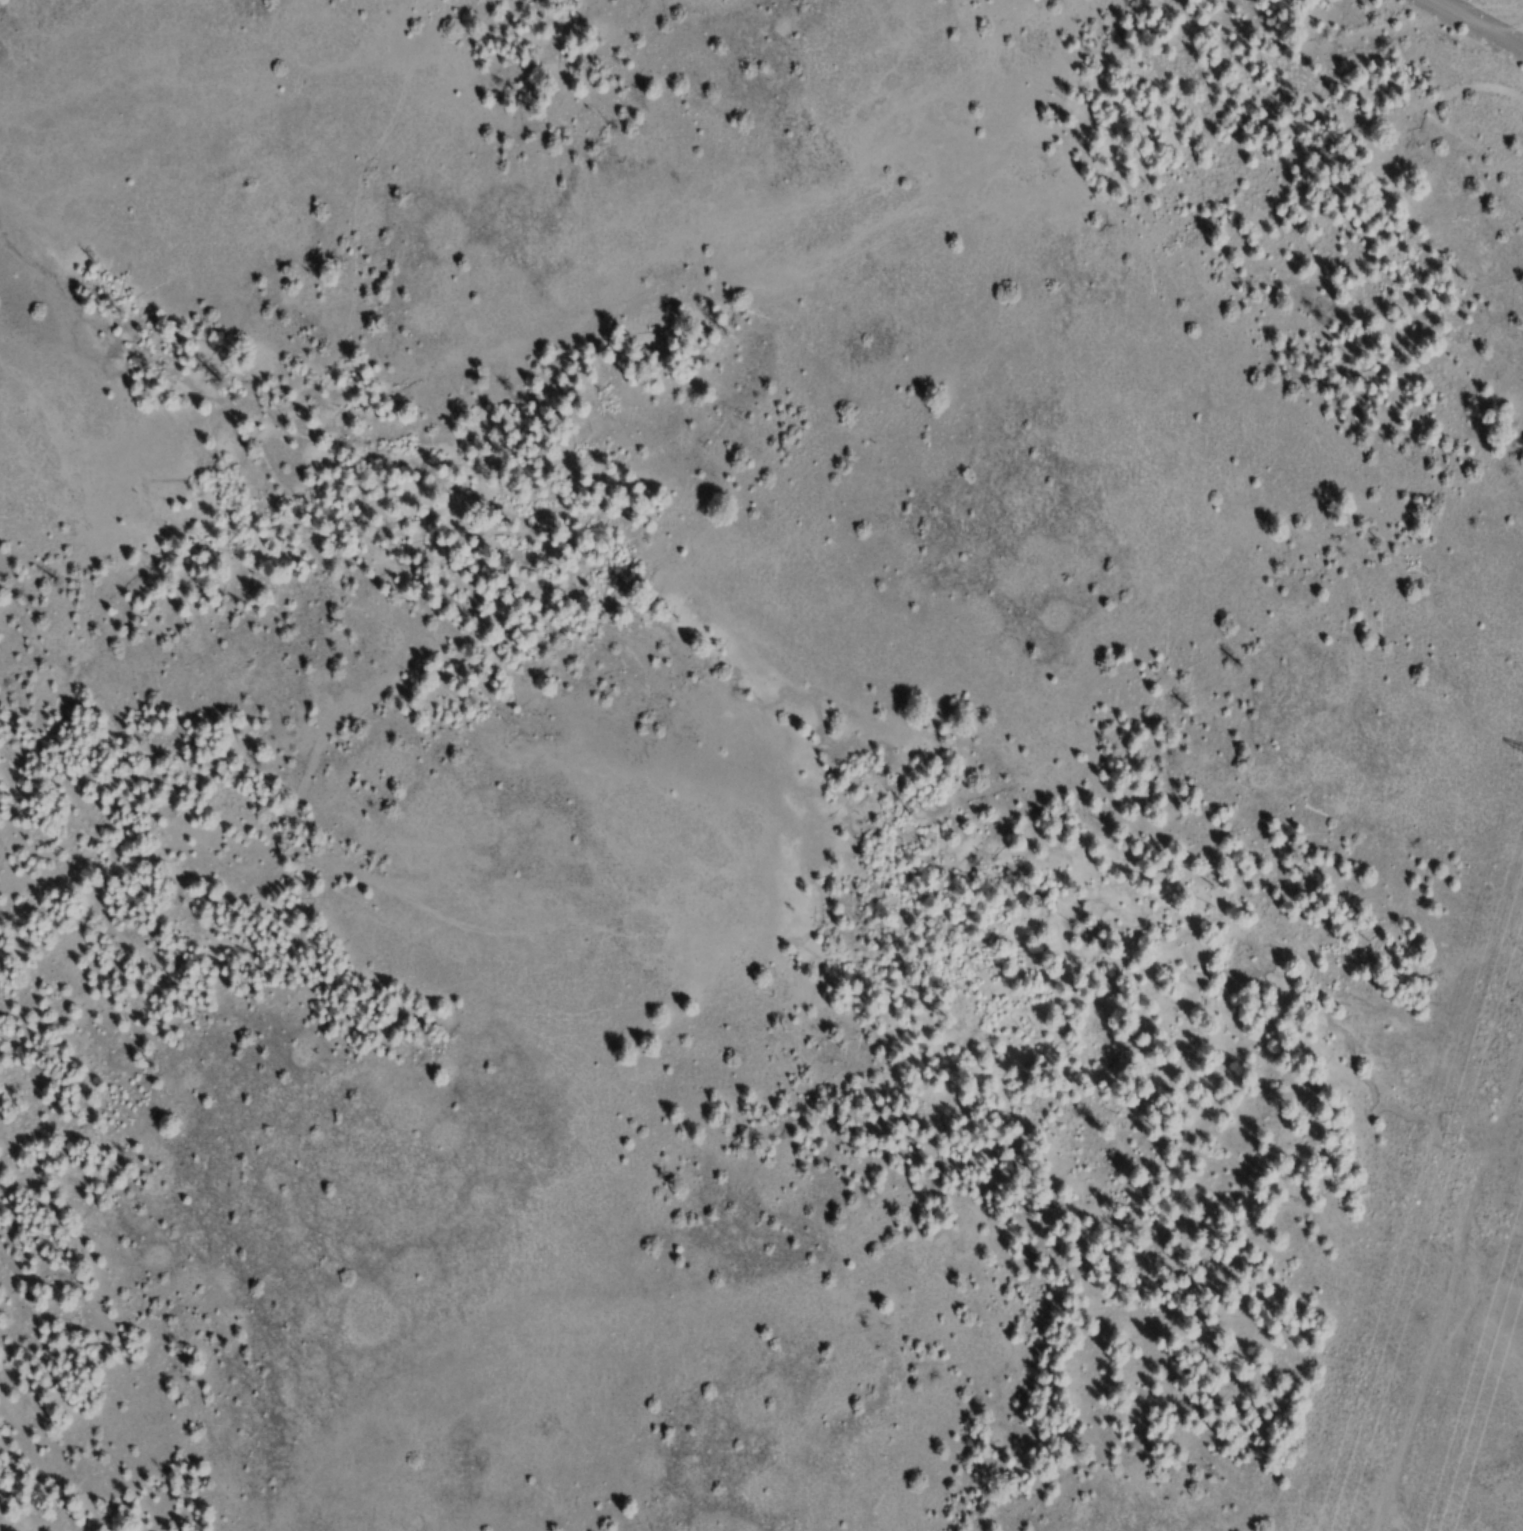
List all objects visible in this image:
road: (1485, 20)
road: (1450, 1282)

